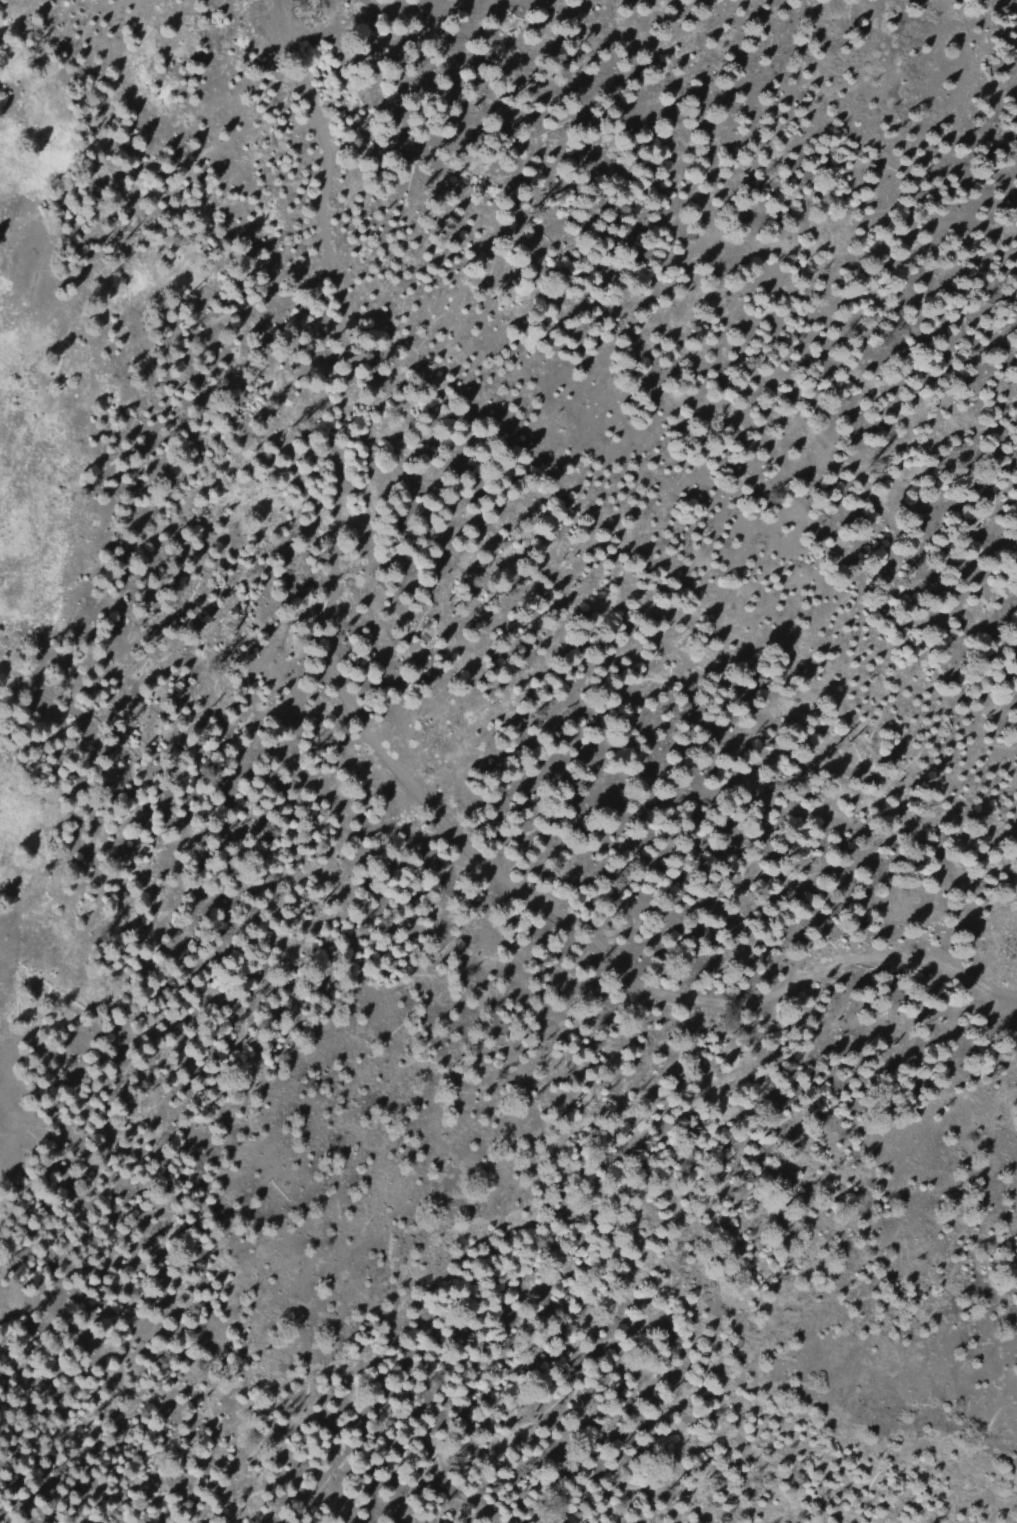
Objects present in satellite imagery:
road: (377, 735)

